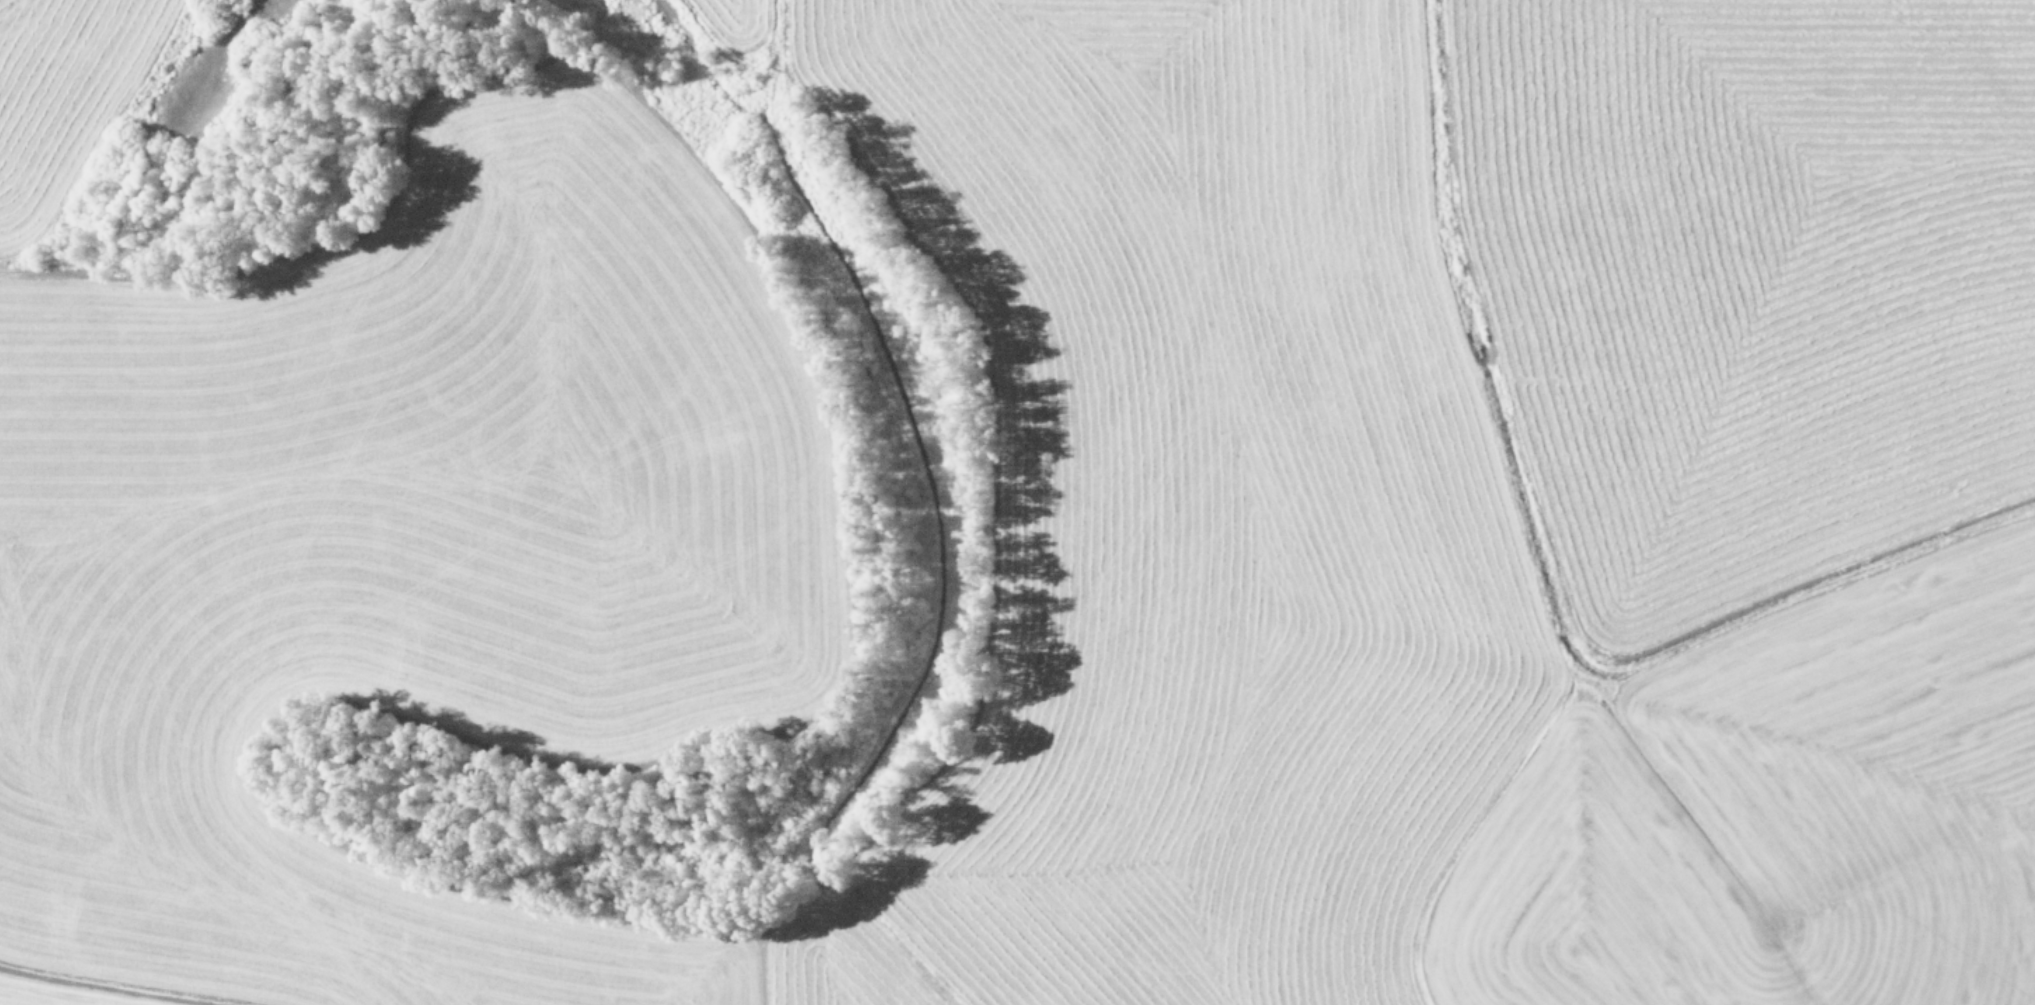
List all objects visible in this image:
crop: (1017, 502)

